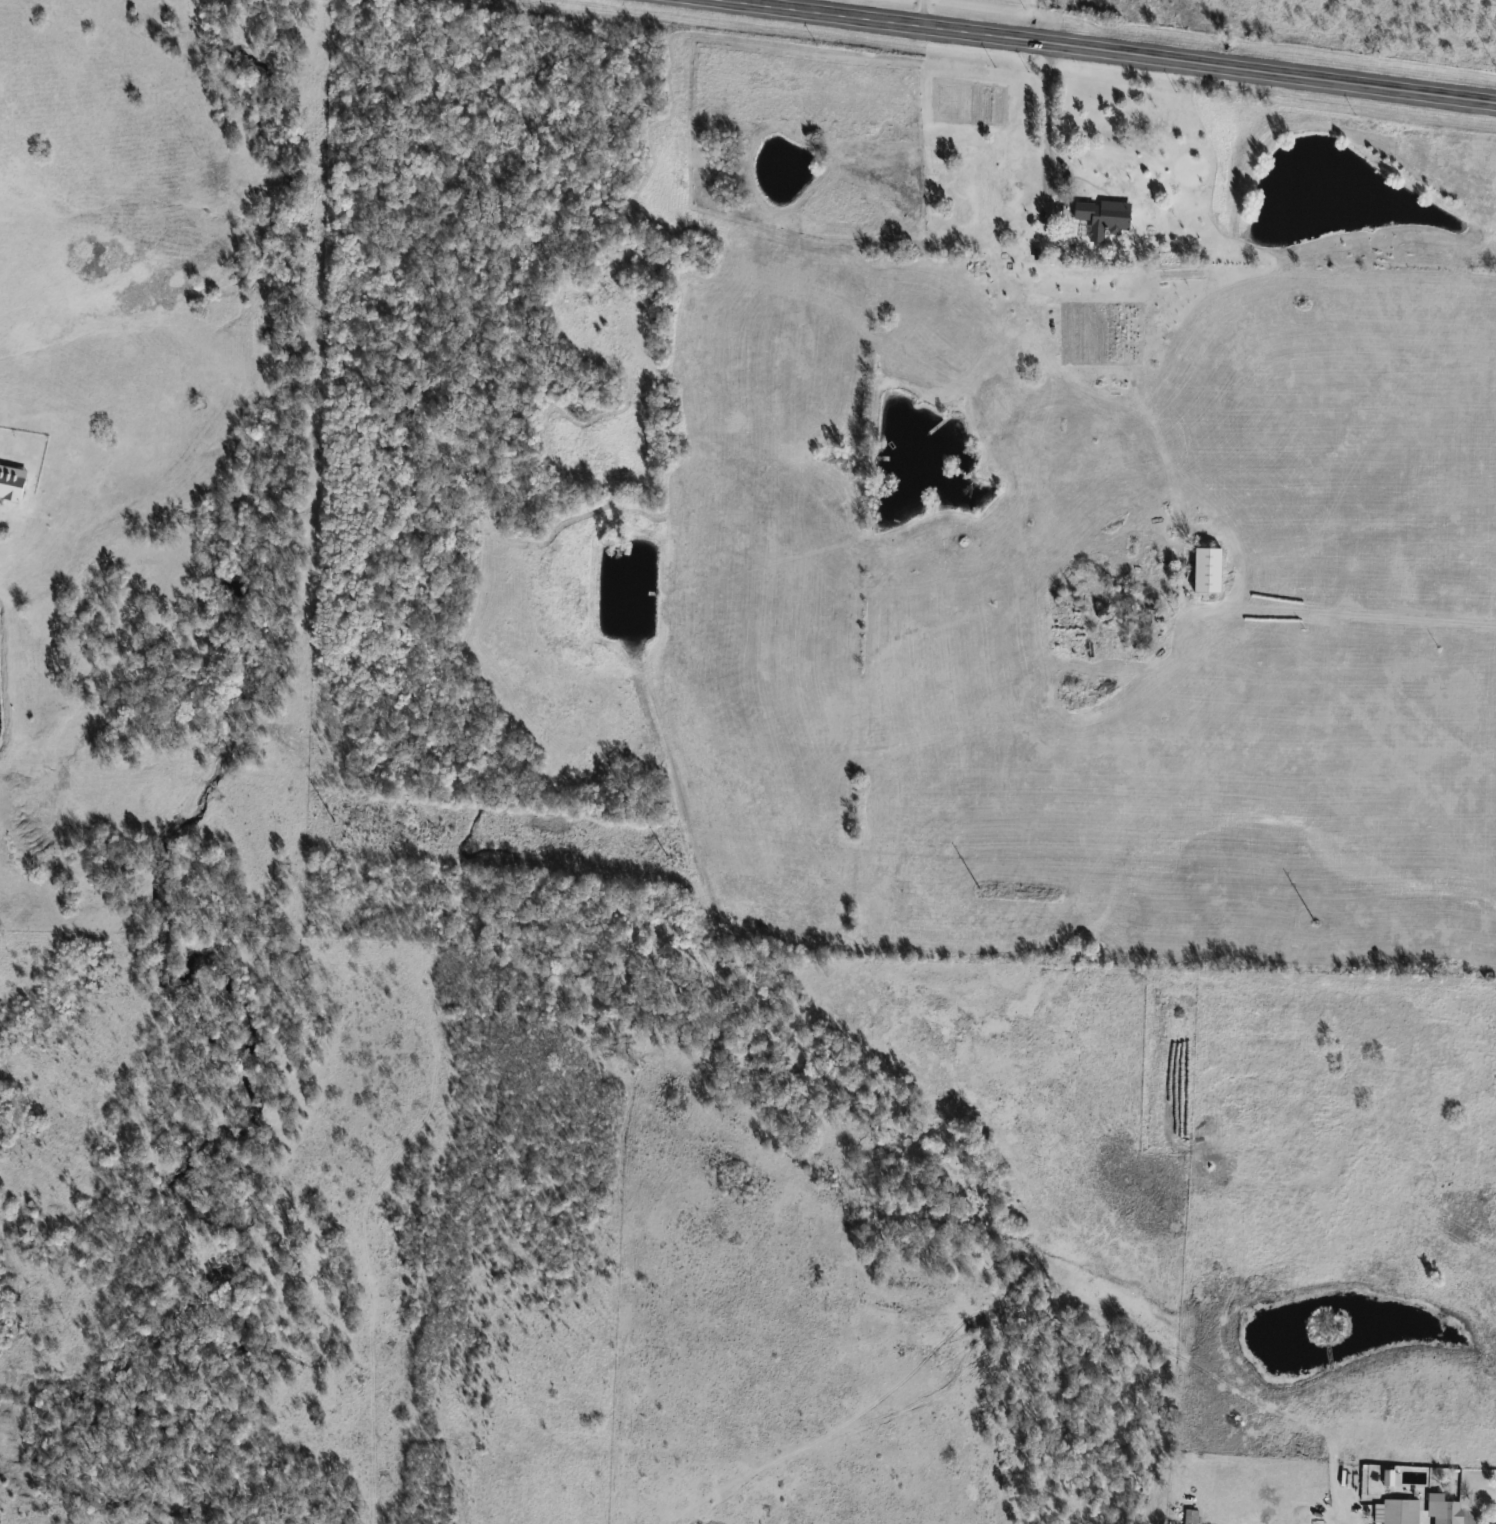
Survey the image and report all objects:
road: (1111, 51)
road: (1046, 115)
building: (1106, 216)
building: (1209, 568)
power tower: (333, 823)
power tower: (662, 855)
power tower: (976, 889)
power tower: (1314, 923)
building: (1184, 1398)
building: (1398, 1511)
building: (1447, 1512)
road: (1338, 1519)

